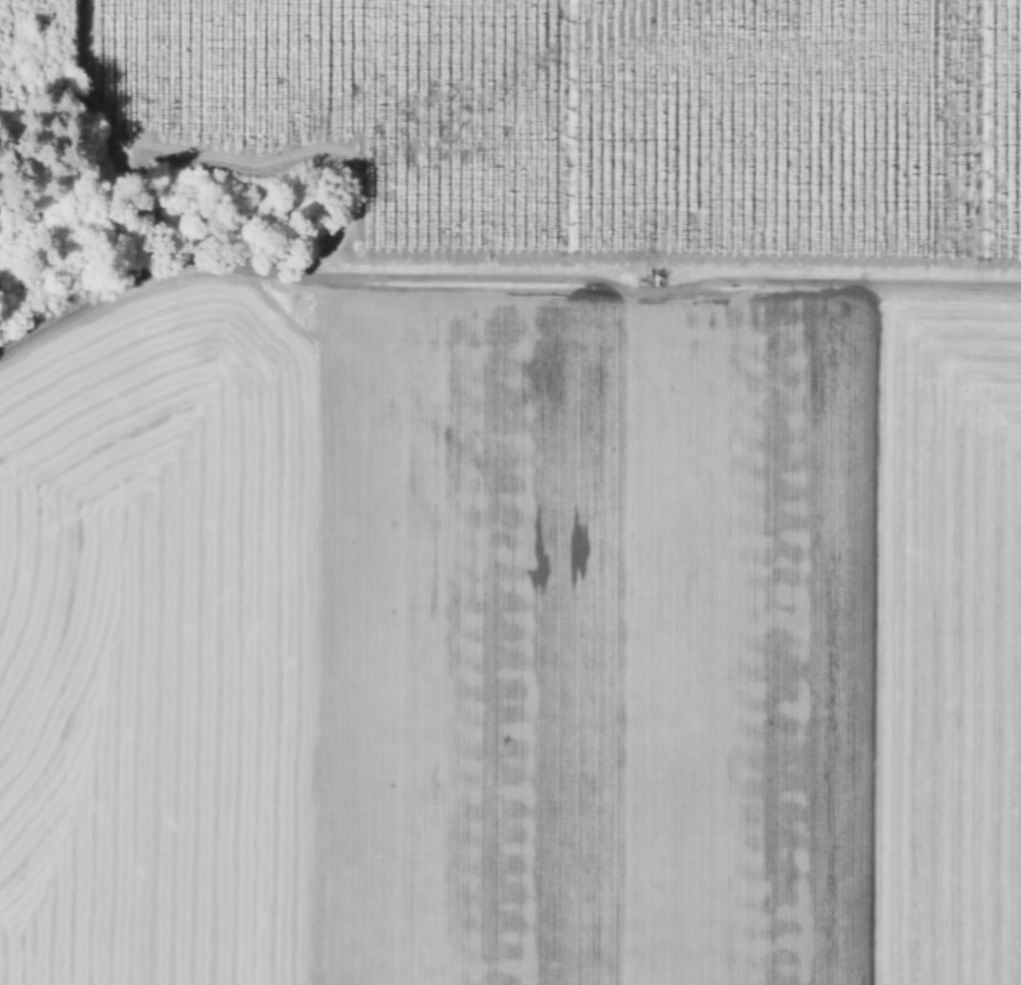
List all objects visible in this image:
crop: (528, 504)

